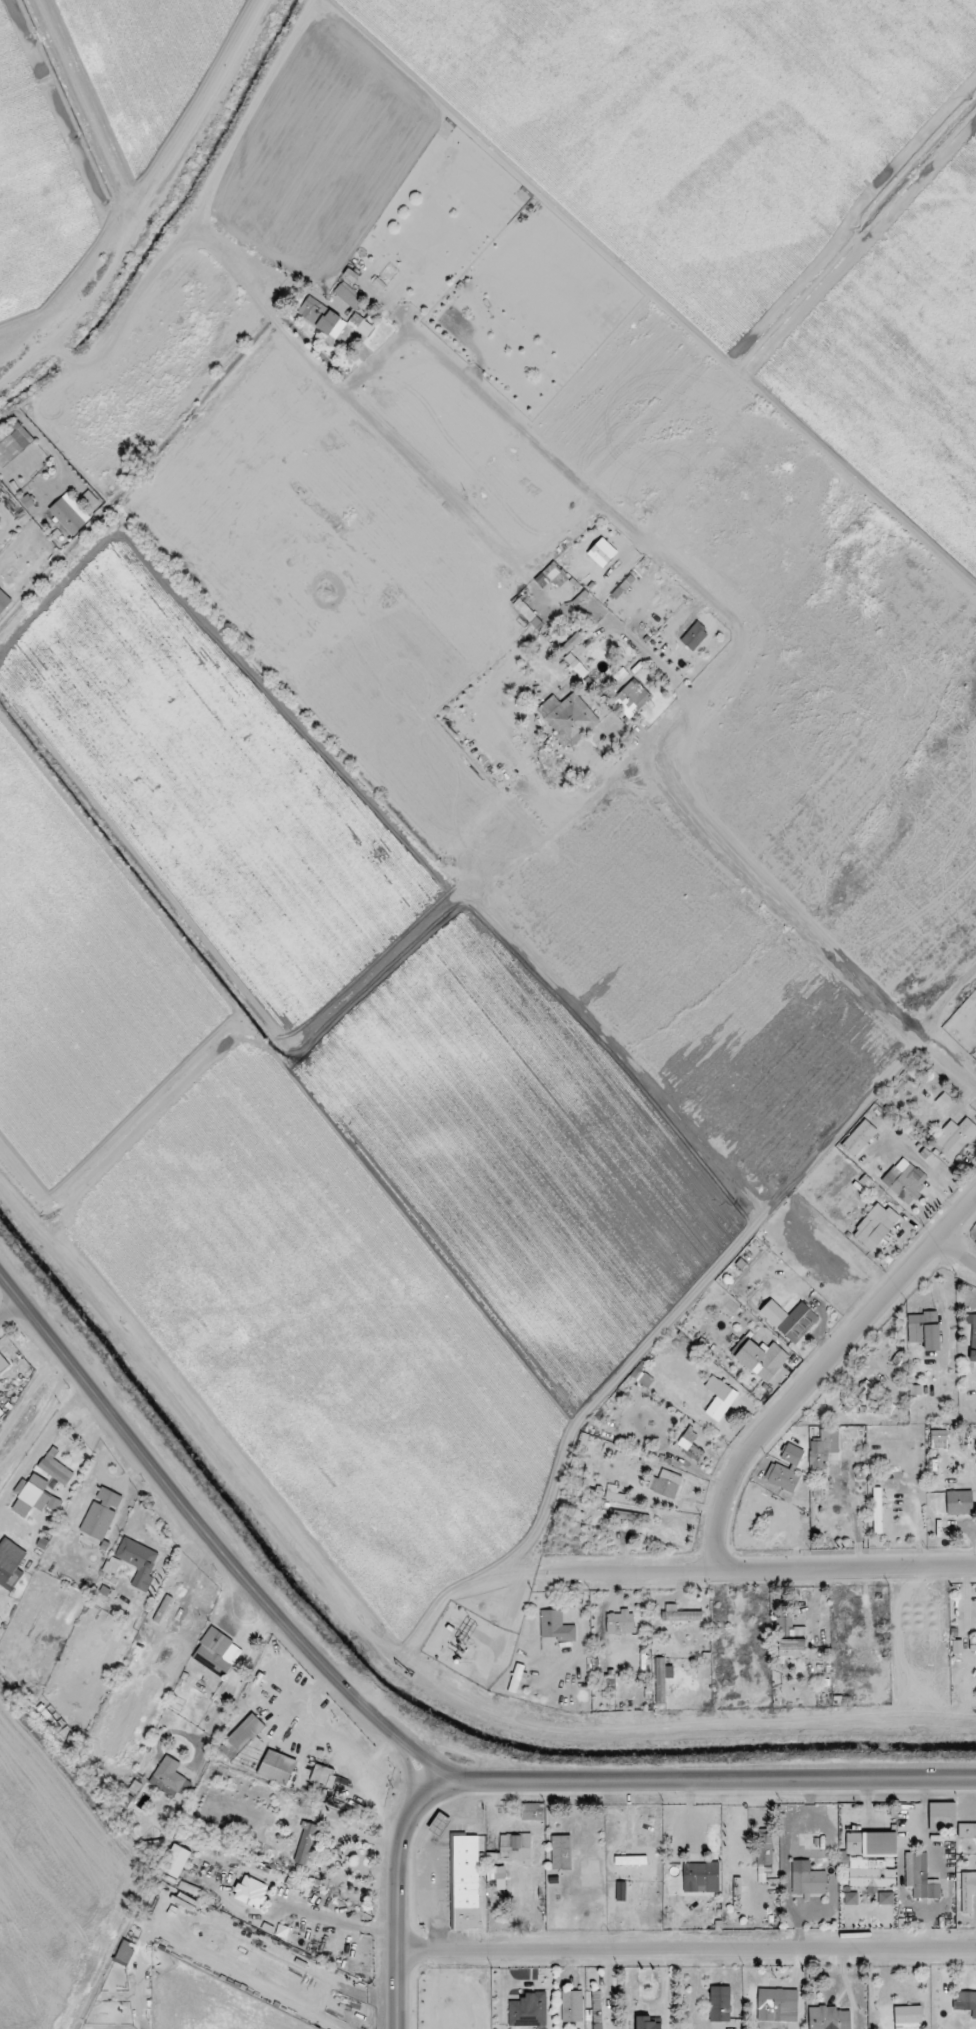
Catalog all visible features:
road: (146, 198)
building: (348, 295)
building: (332, 322)
building: (13, 445)
building: (89, 499)
road: (584, 513)
building: (69, 514)
building: (602, 552)
building: (555, 575)
building: (622, 587)
building: (4, 601)
building: (524, 610)
building: (694, 636)
building: (575, 638)
building: (576, 665)
building: (633, 696)
building: (567, 715)
road: (957, 1070)
building: (943, 1100)
building: (956, 1135)
building: (859, 1138)
road: (920, 1165)
building: (905, 1180)
road: (952, 1208)
building: (875, 1226)
road: (957, 1253)
road: (11, 1309)
building: (798, 1323)
building: (925, 1331)
building: (972, 1336)
building: (760, 1358)
building: (3, 1363)
road: (820, 1371)
building: (644, 1379)
building: (915, 1390)
building: (881, 1395)
building: (719, 1398)
building: (938, 1435)
road: (40, 1437)
building: (582, 1442)
building: (690, 1444)
building: (792, 1454)
building: (822, 1456)
building: (55, 1467)
building: (783, 1478)
building: (665, 1484)
building: (36, 1493)
building: (614, 1494)
building: (960, 1502)
building: (877, 1504)
building: (101, 1513)
building: (629, 1516)
road: (219, 1547)
building: (138, 1561)
building: (10, 1564)
building: (112, 1565)
road: (761, 1571)
road: (192, 1585)
building: (680, 1614)
building: (620, 1622)
building: (556, 1626)
building: (789, 1637)
building: (972, 1644)
building: (214, 1652)
building: (516, 1678)
building: (662, 1679)
building: (606, 1683)
building: (228, 1751)
building: (324, 1769)
building: (167, 1777)
road: (726, 1777)
road: (411, 1778)
building: (533, 1811)
building: (942, 1817)
building: (439, 1824)
building: (967, 1831)
building: (306, 1844)
building: (872, 1844)
building: (513, 1849)
building: (765, 1849)
building: (561, 1852)
building: (175, 1860)
building: (631, 1860)
building: (496, 1872)
building: (871, 1874)
road: (388, 1876)
building: (919, 1876)
building: (701, 1877)
building: (807, 1879)
building: (465, 1882)
building: (968, 1891)
building: (251, 1892)
building: (850, 1898)
building: (886, 1898)
road: (316, 1913)
building: (559, 1916)
road: (681, 1948)
building: (125, 1952)
building: (596, 2000)
building: (966, 2002)
building: (720, 2003)
building: (777, 2005)
building: (572, 2006)
building: (529, 2010)
building: (908, 2017)
building: (828, 2018)
building: (646, 2023)

